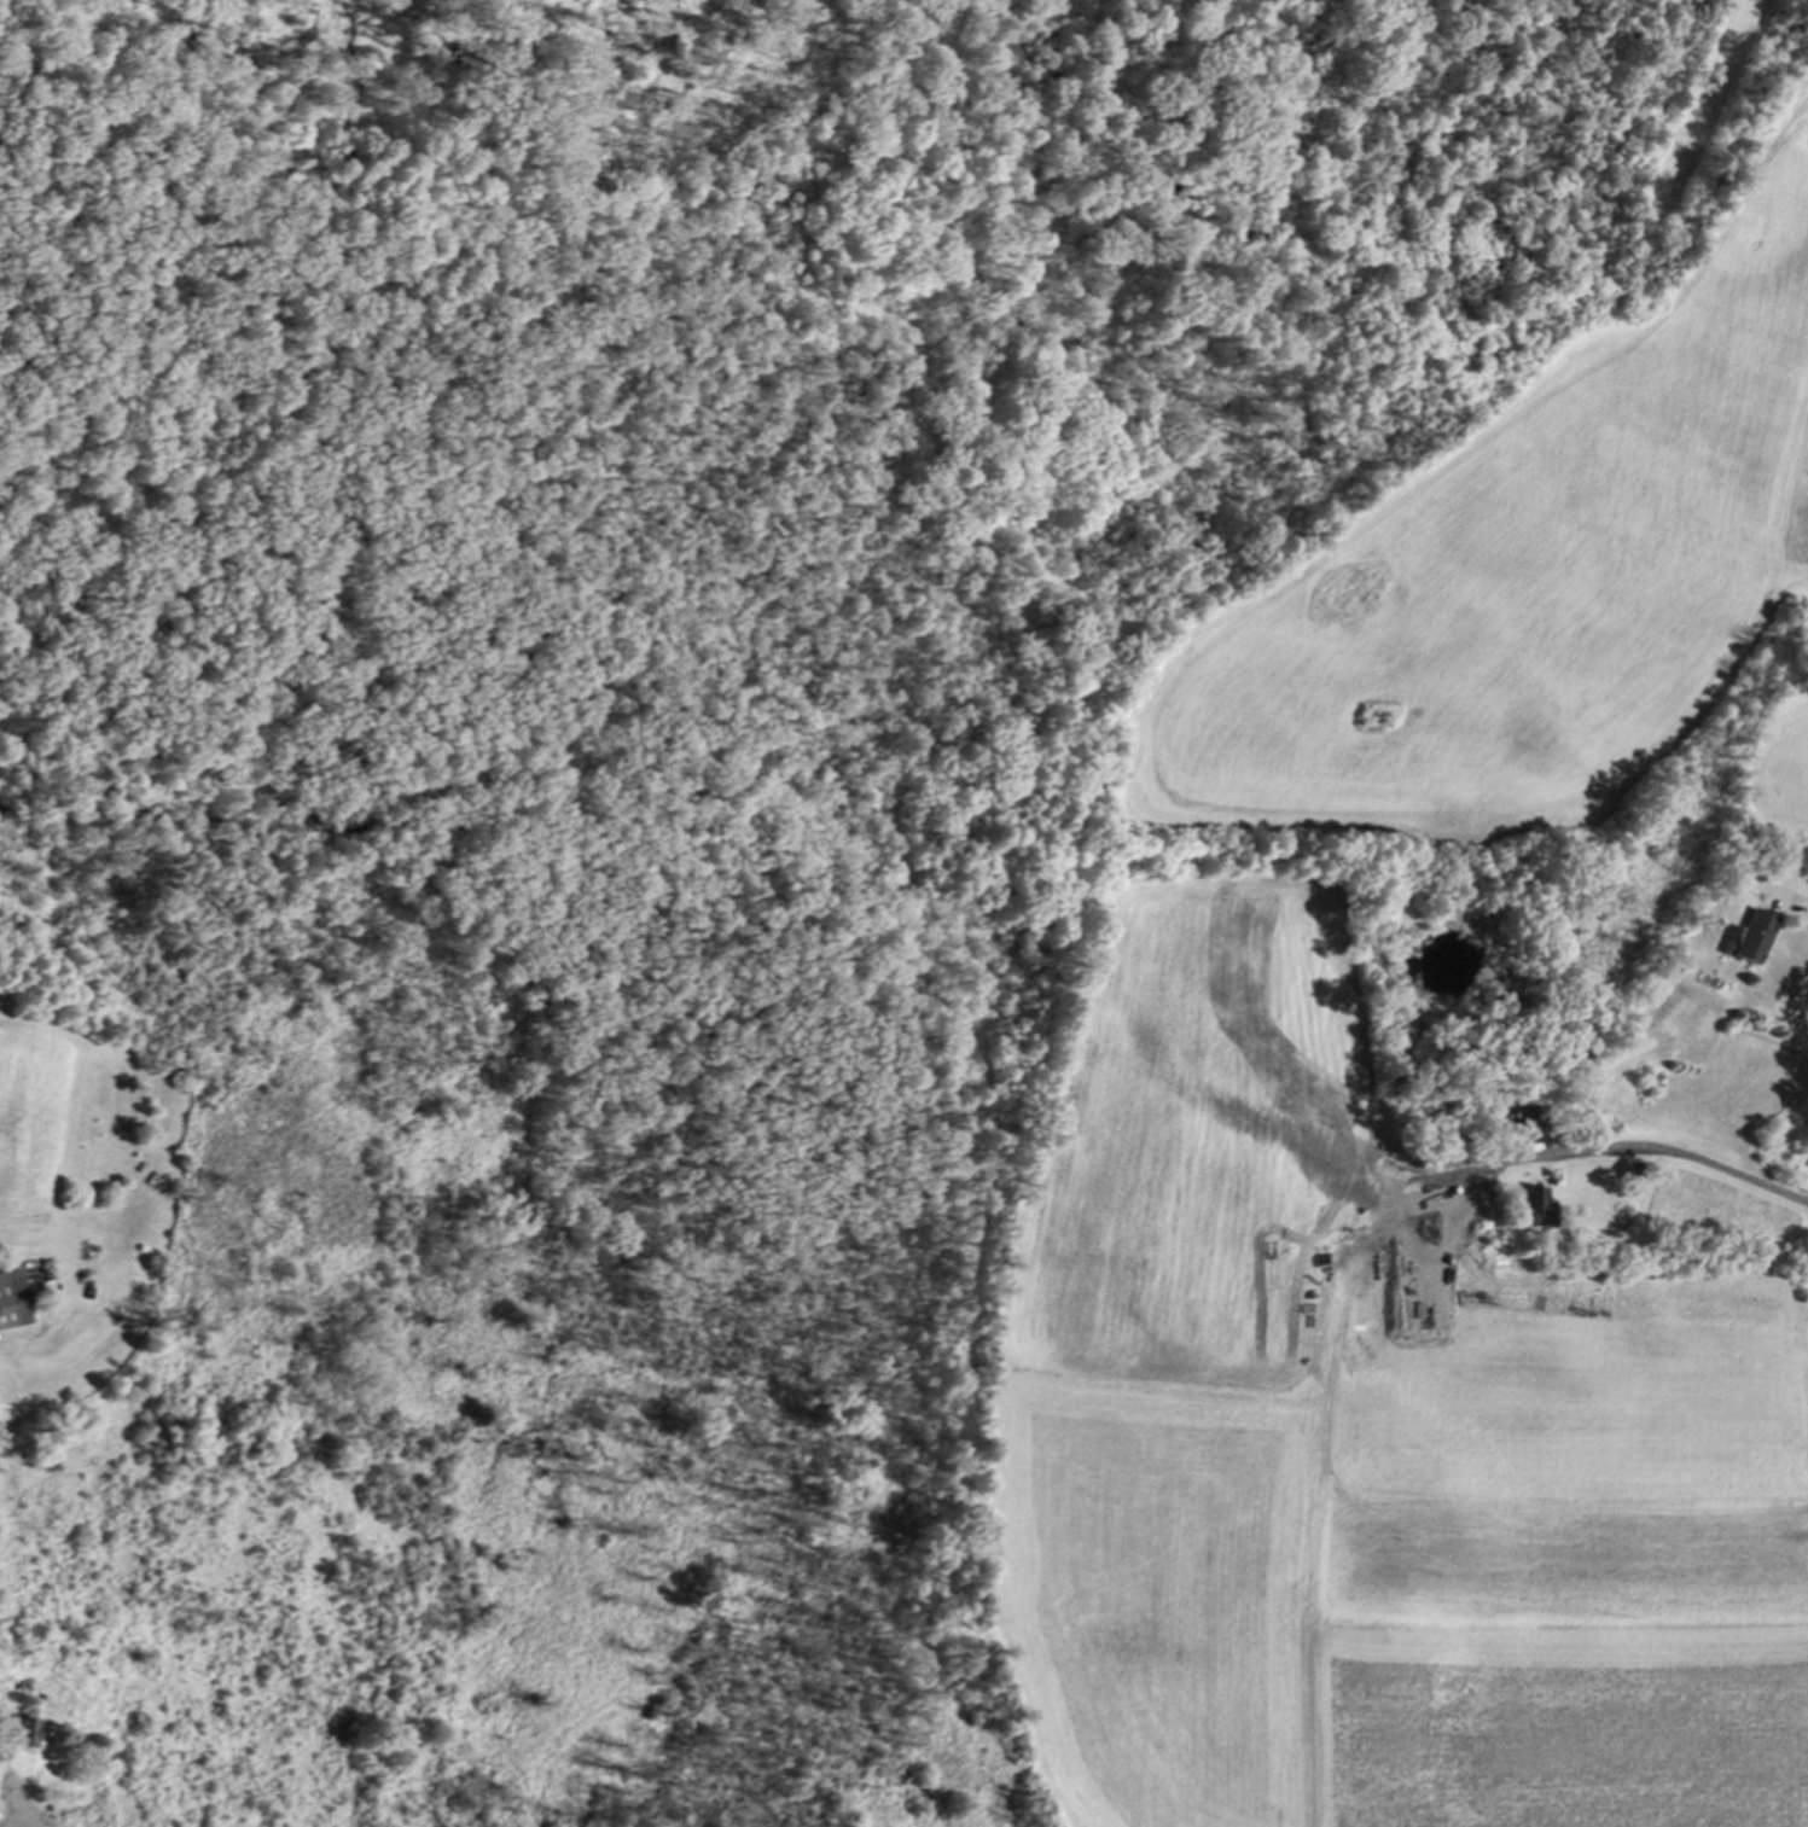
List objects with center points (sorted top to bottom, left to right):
building: (1745, 938)
crop: (1207, 944)
road: (1682, 1158)
building: (1530, 1210)
building: (7, 1304)
building: (13, 1735)
road: (13, 1810)

